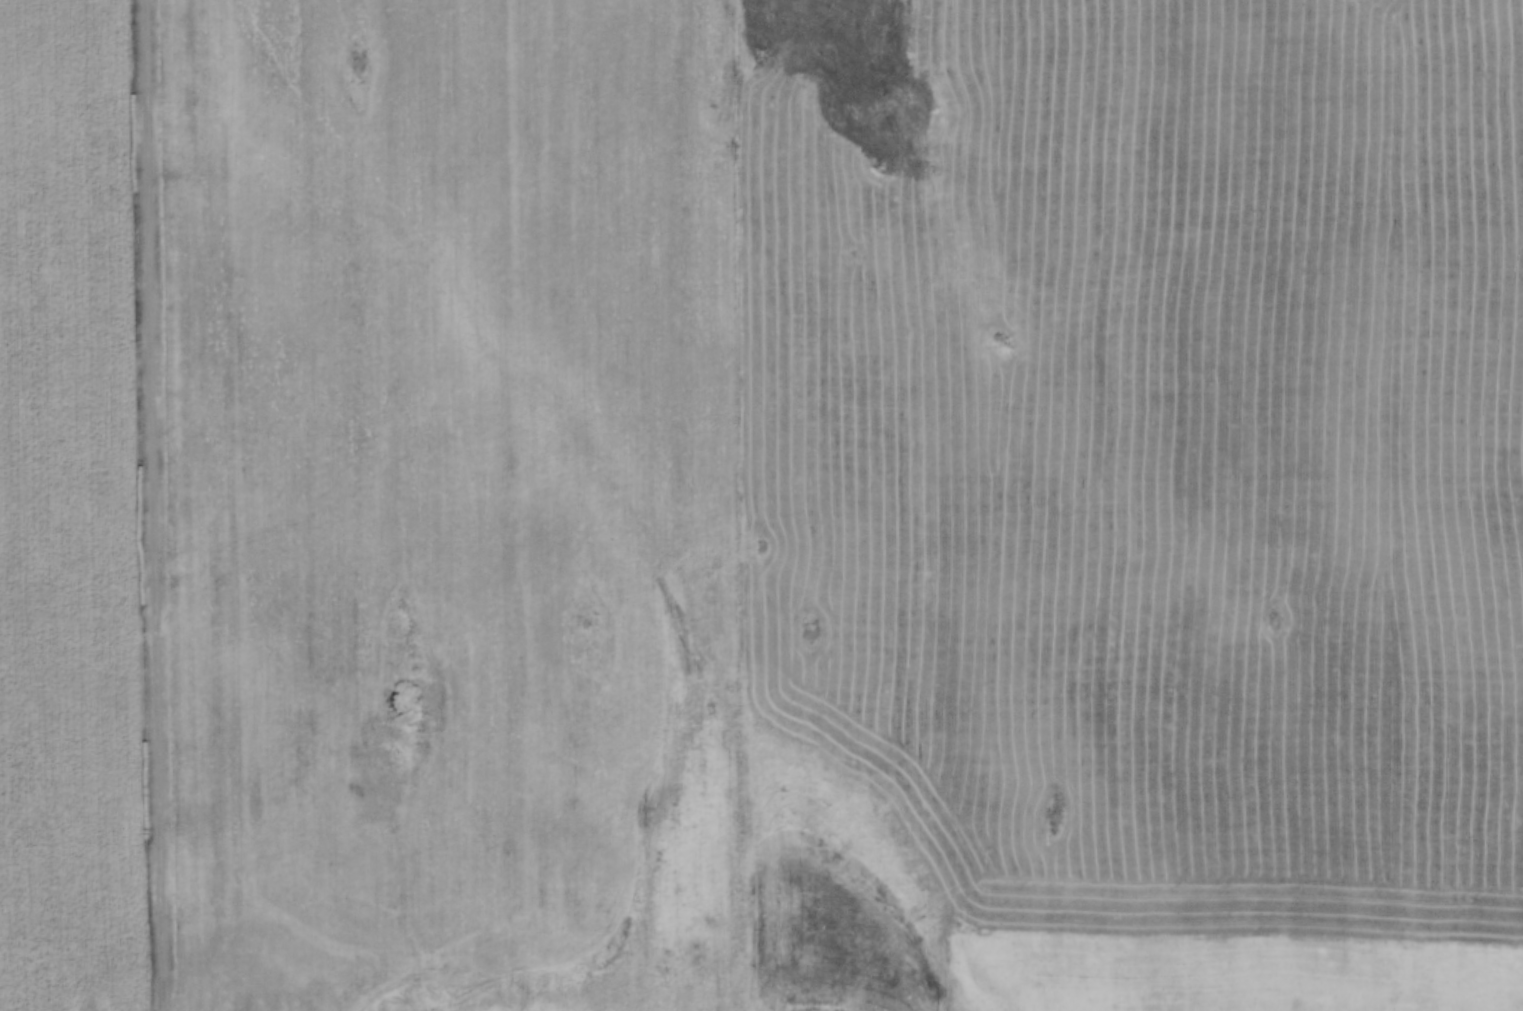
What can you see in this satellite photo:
road: (153, 505)

